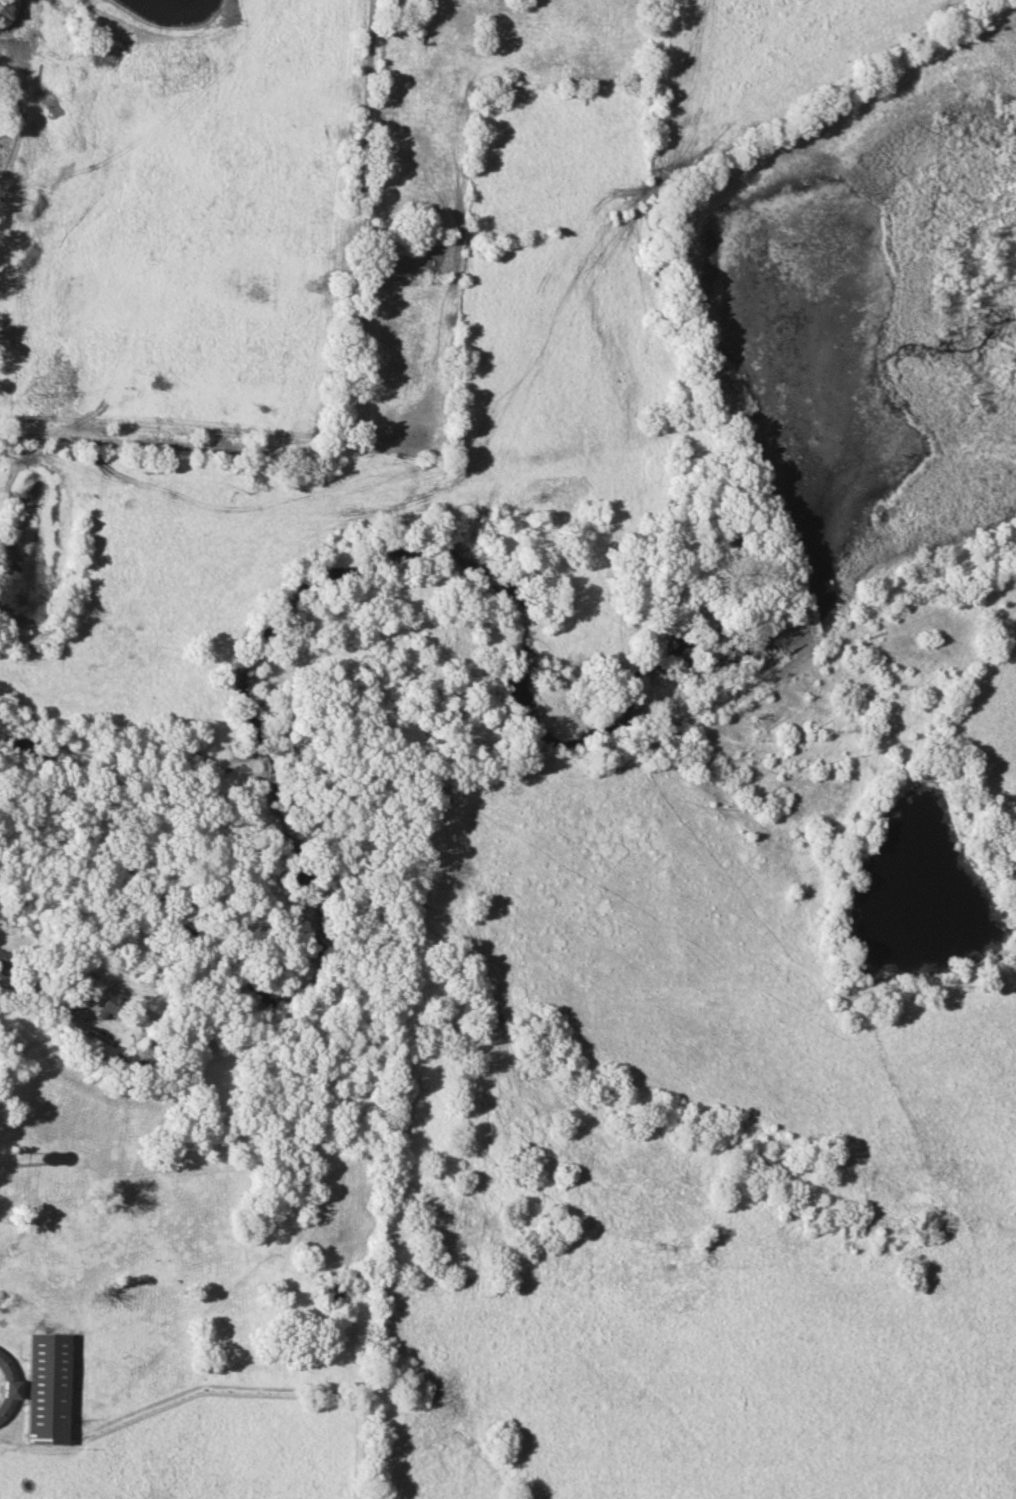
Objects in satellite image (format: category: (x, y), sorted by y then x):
road: (152, 442)
building: (110, 1003)
building: (48, 1388)

